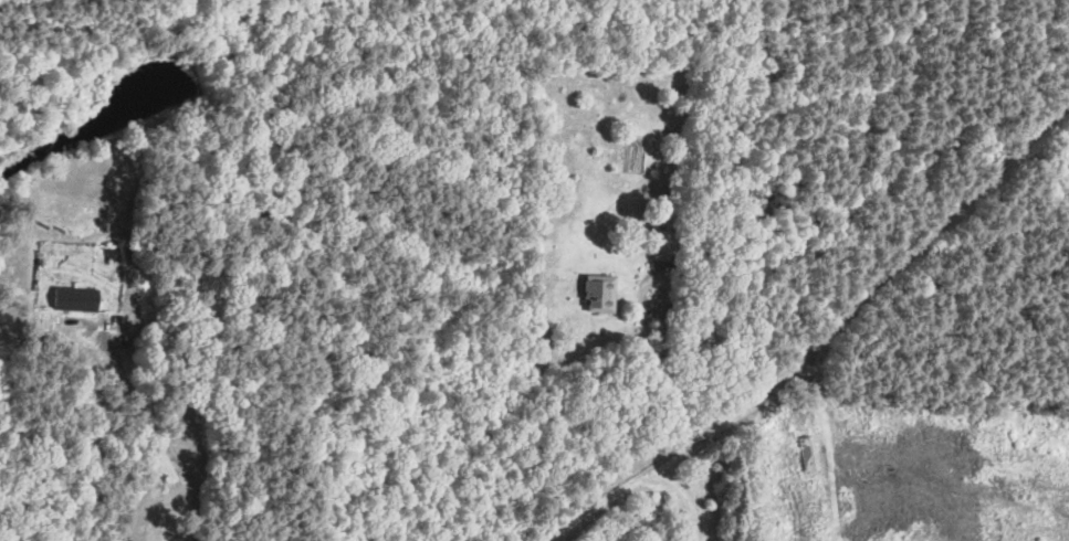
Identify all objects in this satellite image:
building: (667, 244)
building: (602, 291)
building: (77, 298)
road: (642, 315)
road: (818, 340)
road: (163, 426)
road: (683, 496)

